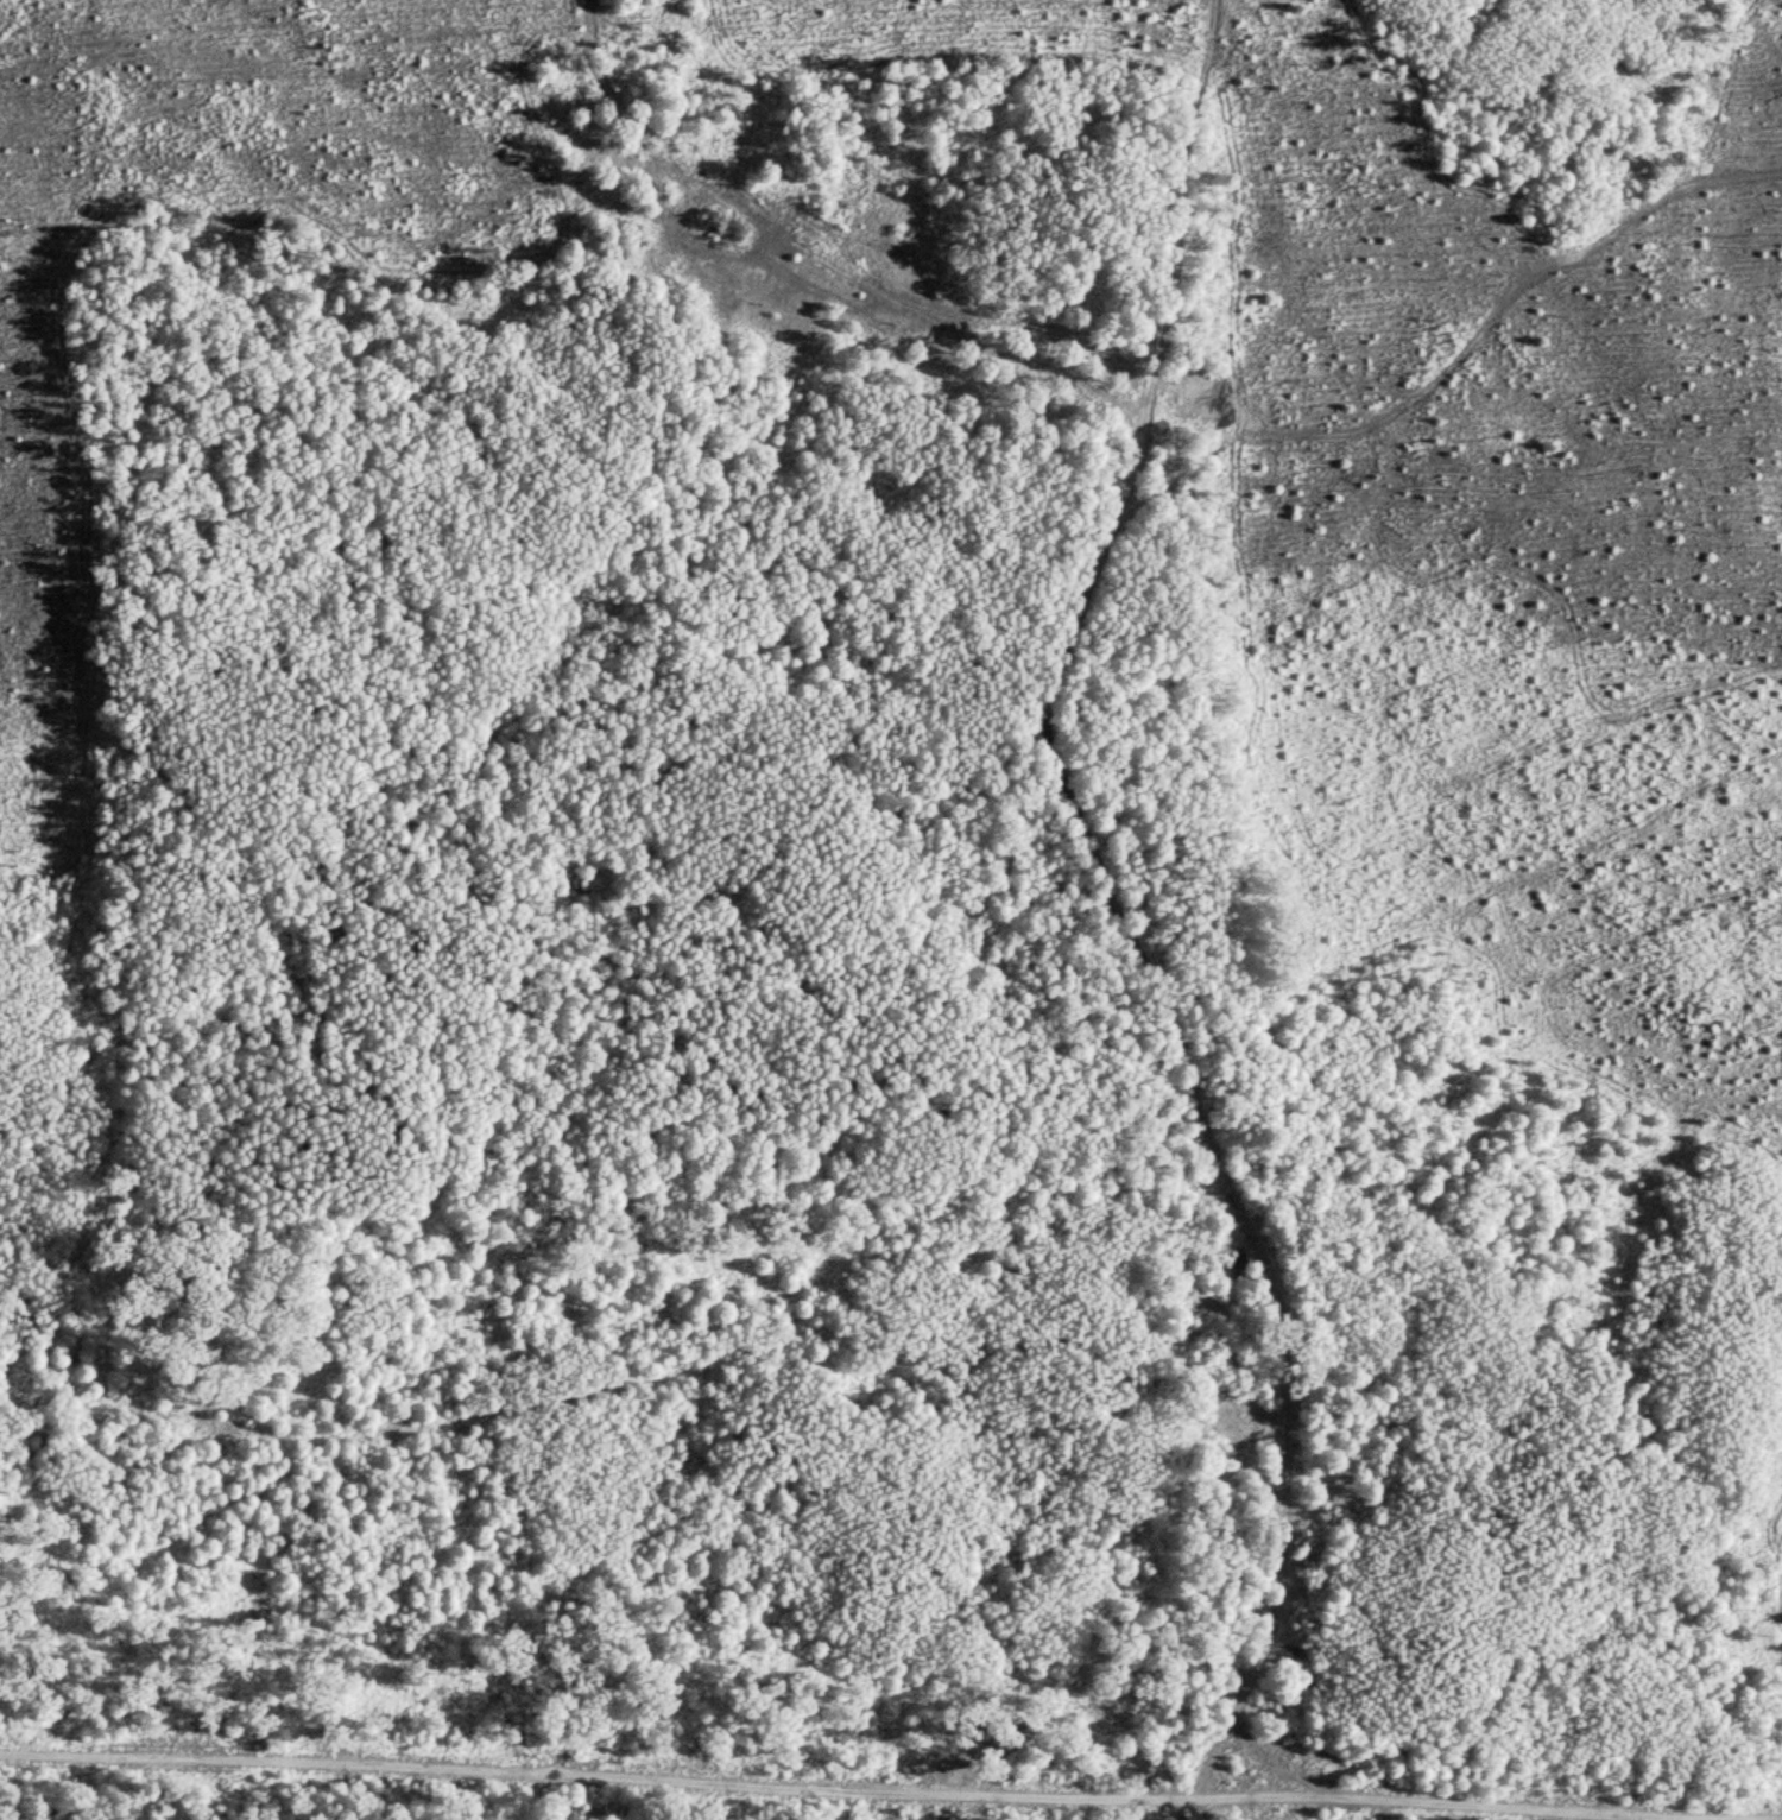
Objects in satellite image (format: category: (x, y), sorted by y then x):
road: (1119, 920)
road: (826, 1793)

